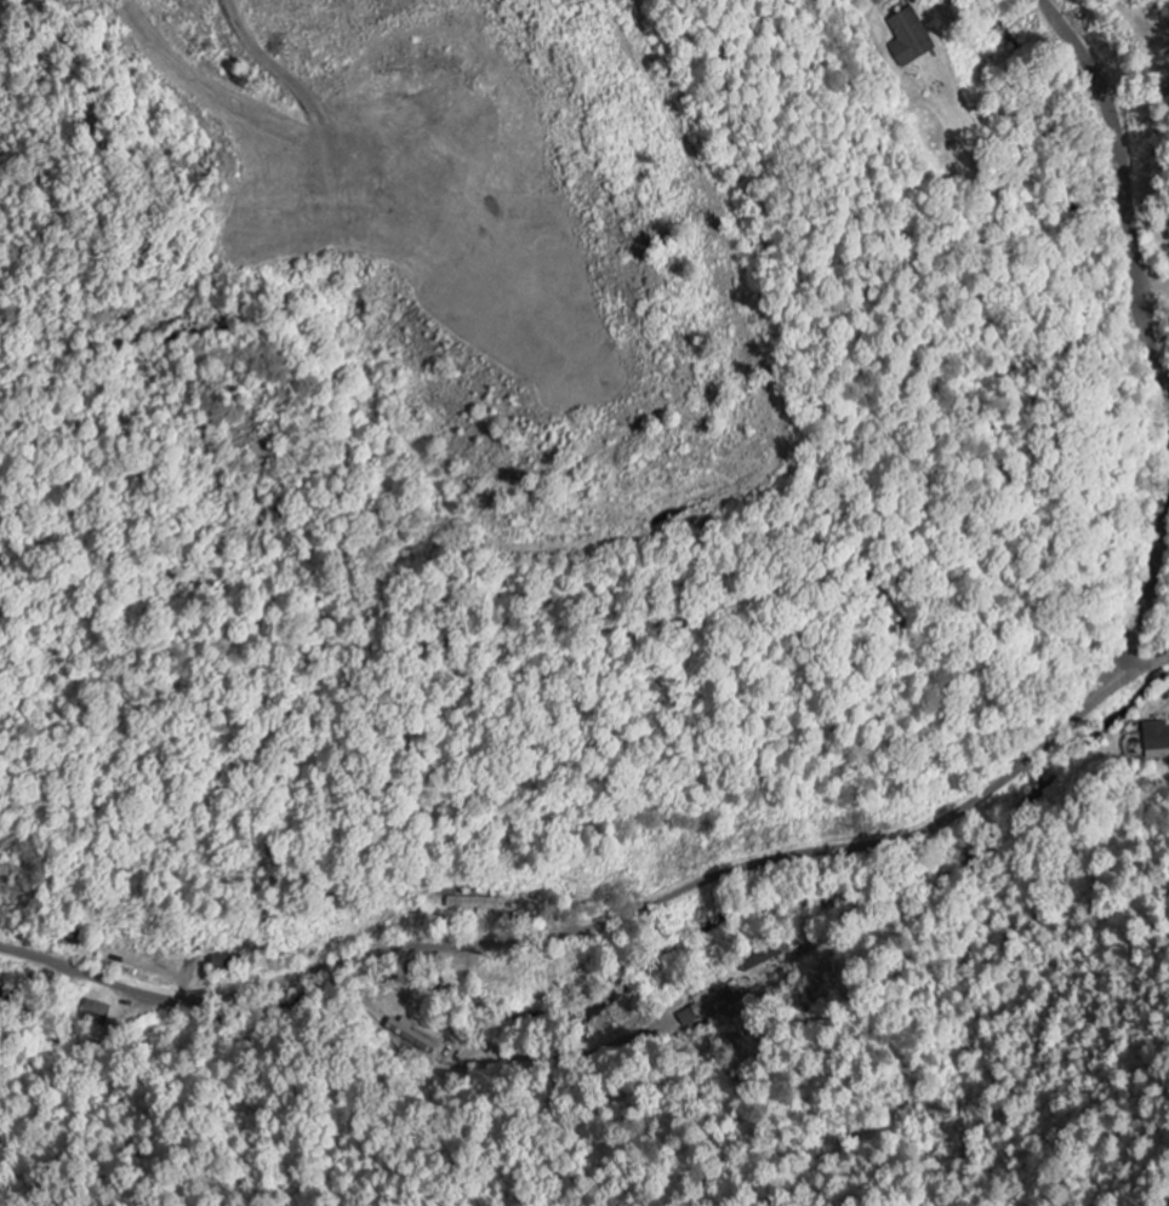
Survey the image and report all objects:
building: (877, 1)
building: (907, 38)
road: (1142, 335)
building: (1156, 743)
road: (609, 922)
building: (407, 1033)

